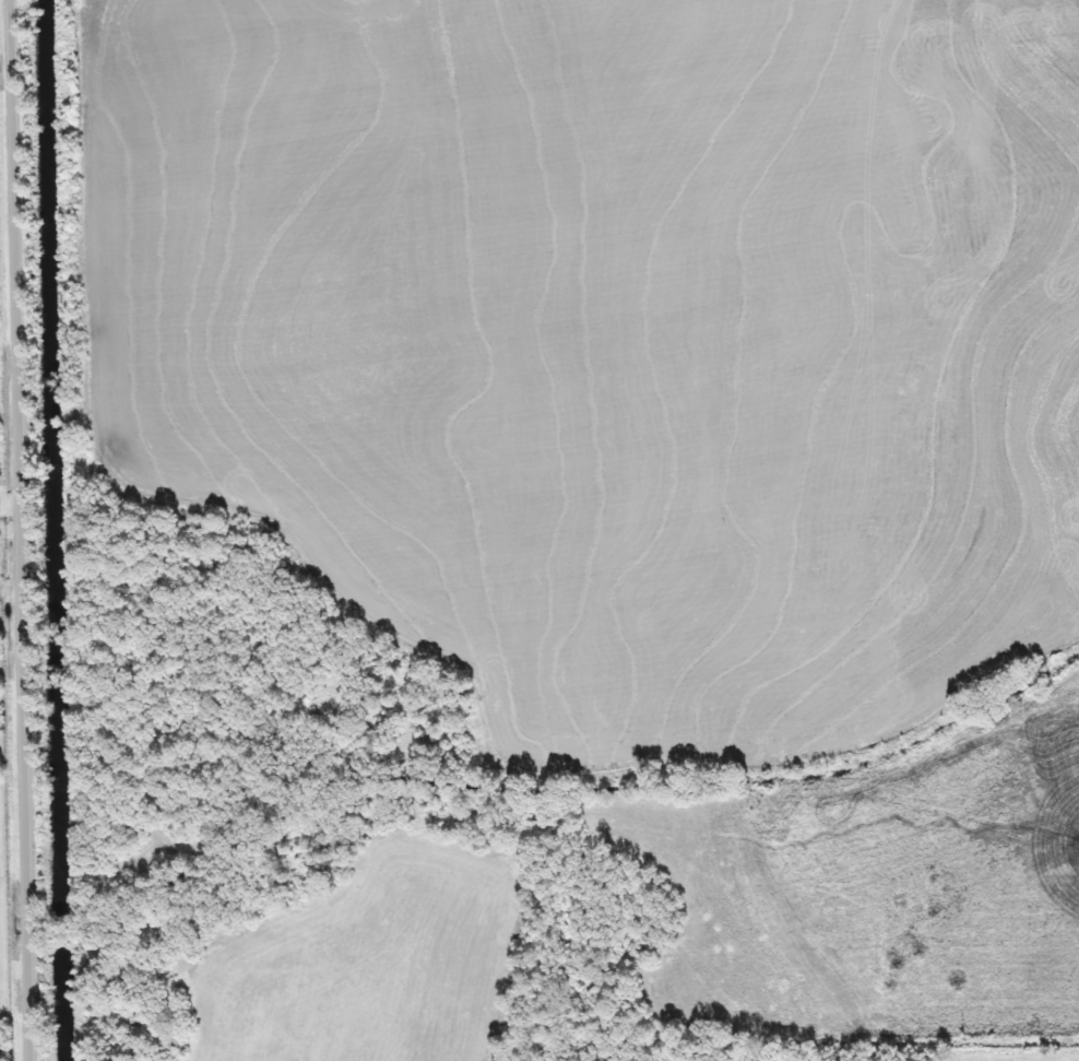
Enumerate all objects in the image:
road: (11, 530)
road: (22, 530)

